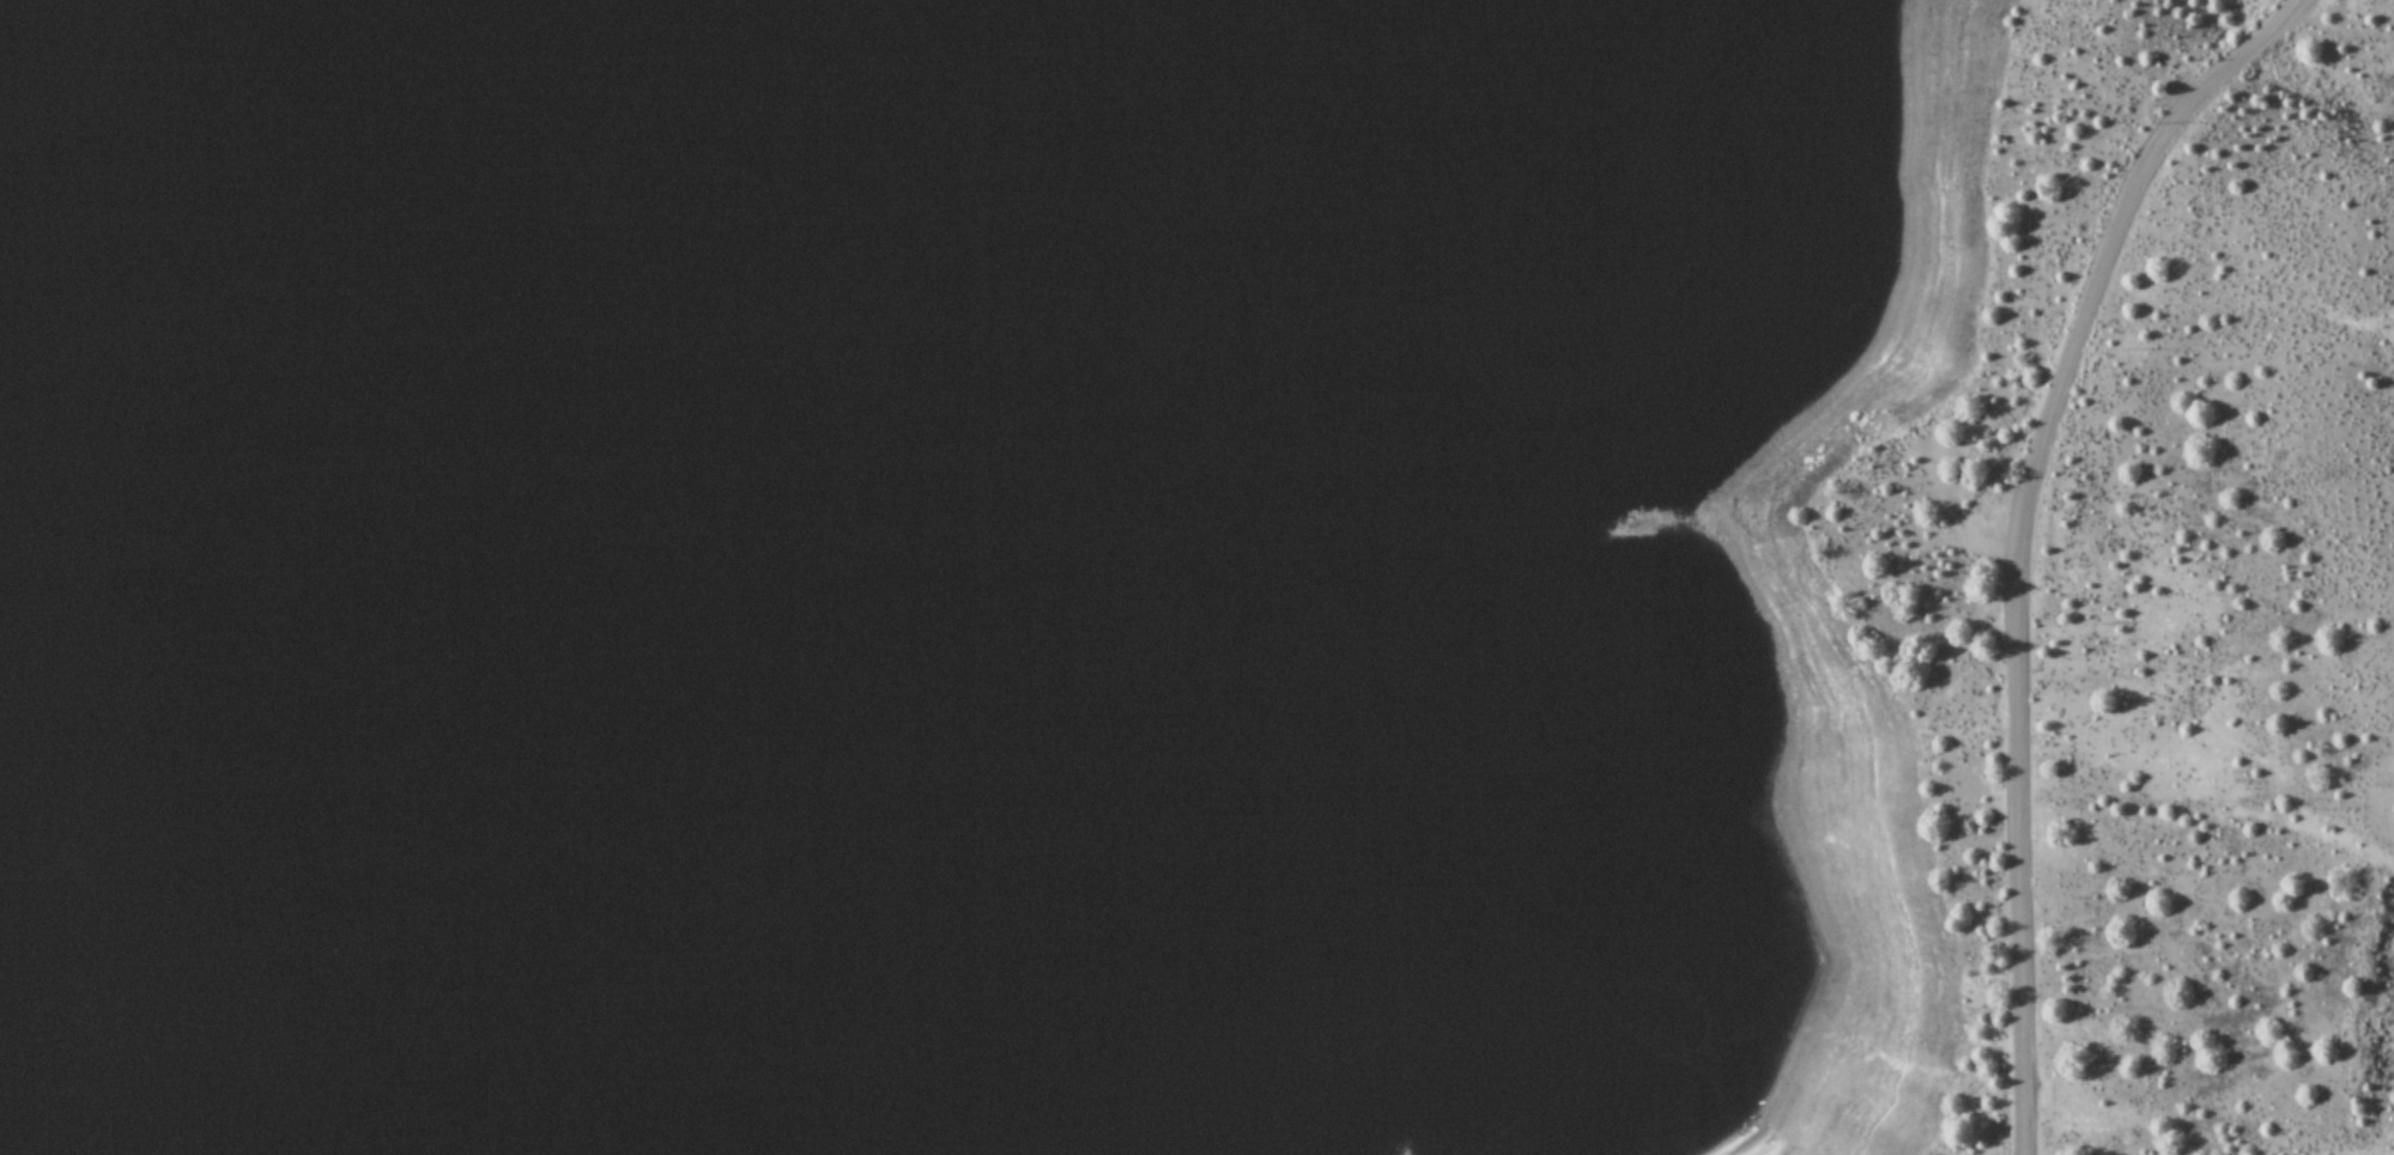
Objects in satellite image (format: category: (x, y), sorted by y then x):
road: (2024, 541)
river: (38, 1119)

